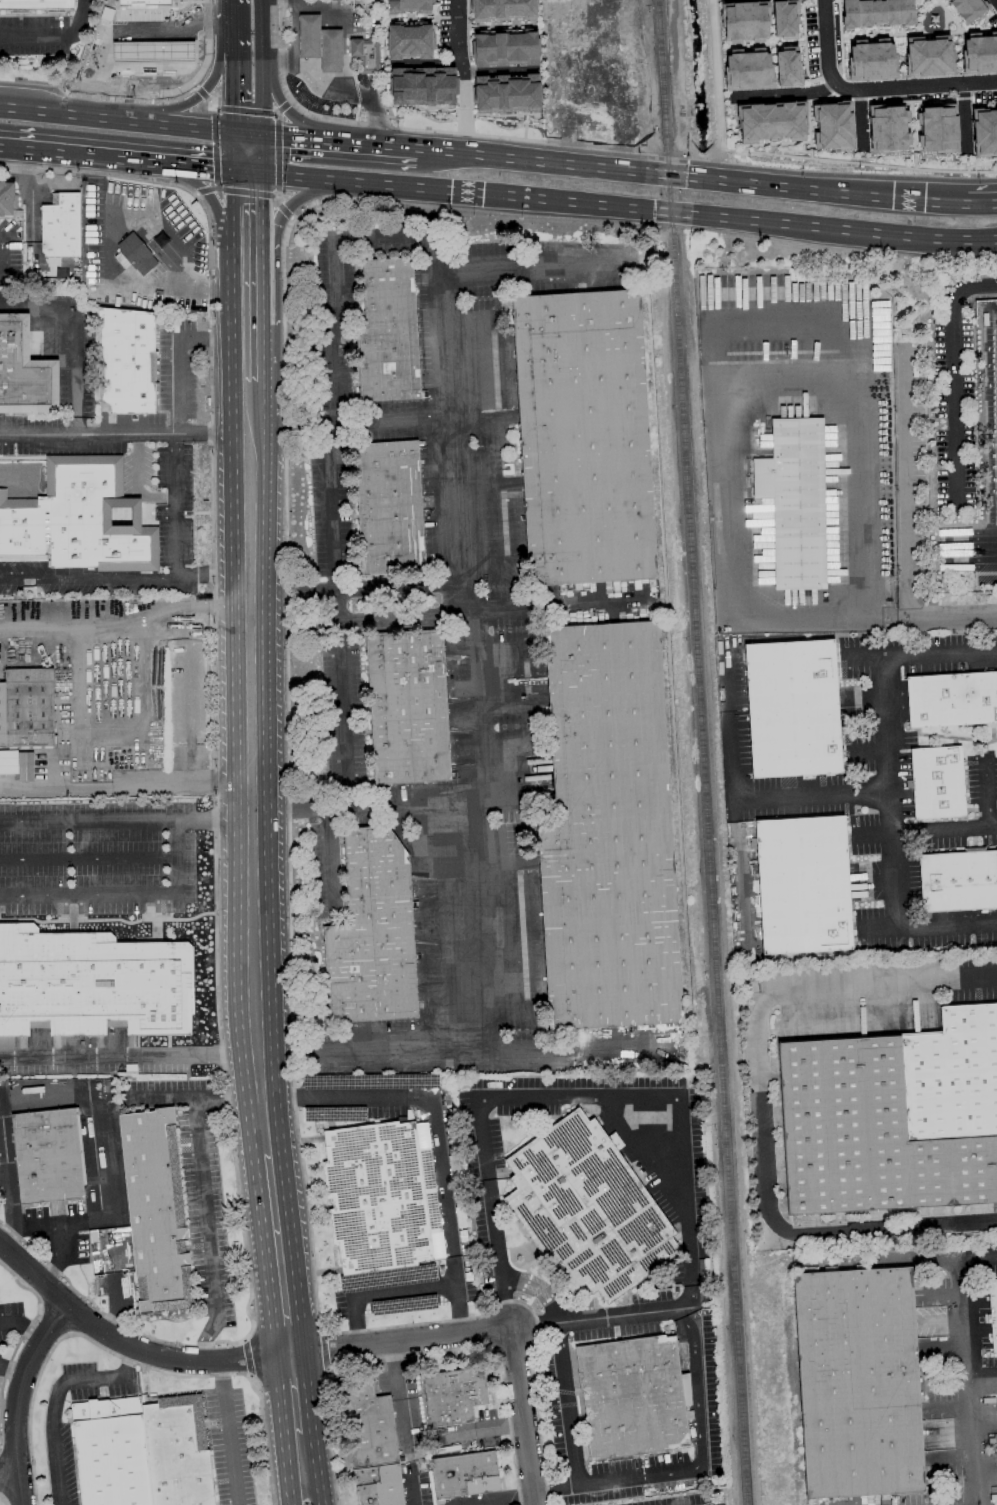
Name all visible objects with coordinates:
road: (996, 0)
building: (142, 2)
building: (35, 4)
road: (361, 4)
building: (409, 6)
building: (966, 9)
building: (502, 10)
building: (876, 12)
road: (233, 15)
building: (786, 18)
building: (745, 20)
road: (125, 29)
traffic signals: (235, 30)
road: (343, 30)
building: (309, 37)
road: (55, 38)
road: (460, 39)
building: (409, 42)
road: (823, 42)
building: (148, 47)
gas station: (148, 47)
building: (504, 49)
building: (331, 51)
building: (363, 53)
gas station: (363, 53)
building: (979, 53)
road: (371, 54)
building: (928, 57)
building: (870, 60)
road: (262, 66)
building: (786, 67)
road: (305, 68)
building: (747, 69)
road: (237, 81)
road: (372, 85)
building: (421, 86)
road: (915, 87)
road: (202, 93)
road: (198, 94)
building: (506, 94)
road: (785, 94)
road: (211, 105)
traffic signals: (238, 106)
road: (283, 107)
road: (373, 107)
road: (244, 111)
road: (286, 111)
road: (464, 115)
road: (119, 121)
building: (771, 121)
building: (834, 125)
building: (888, 128)
building: (936, 128)
building: (984, 132)
traffic signals: (280, 136)
road: (288, 136)
road: (397, 145)
road: (214, 149)
road: (461, 152)
road: (245, 153)
road: (257, 153)
road: (78, 154)
road: (276, 154)
road: (204, 167)
traffic signals: (211, 168)
road: (731, 182)
road: (203, 191)
road: (246, 192)
traffic signals: (252, 197)
building: (6, 199)
road: (277, 200)
road: (624, 208)
road: (219, 211)
road: (283, 212)
road: (285, 212)
building: (61, 226)
road: (252, 229)
road: (2, 249)
building: (135, 255)
road: (1, 262)
road: (530, 266)
road: (148, 287)
road: (965, 288)
road: (253, 289)
road: (211, 291)
road: (794, 314)
building: (388, 333)
road: (73, 335)
road: (212, 341)
road: (252, 341)
building: (125, 361)
building: (24, 371)
road: (788, 374)
road: (172, 380)
road: (954, 407)
road: (252, 413)
road: (409, 418)
parking lot: (988, 419)
road: (126, 434)
building: (584, 438)
road: (333, 455)
road: (904, 484)
building: (795, 502)
road: (172, 506)
building: (389, 508)
building: (80, 519)
road: (293, 573)
road: (87, 577)
road: (213, 578)
road: (357, 590)
road: (546, 602)
road: (126, 611)
road: (859, 619)
road: (356, 621)
road: (468, 623)
road: (928, 655)
building: (952, 699)
road: (188, 707)
building: (407, 707)
building: (27, 708)
building: (792, 709)
railway: (700, 752)
building: (17, 764)
building: (937, 783)
road: (126, 785)
road: (252, 797)
road: (990, 798)
road: (737, 799)
road: (362, 806)
road: (126, 820)
road: (927, 830)
building: (608, 834)
road: (890, 842)
road: (90, 858)
road: (330, 861)
building: (958, 881)
building: (803, 885)
road: (126, 893)
road: (289, 907)
building: (372, 933)
building: (92, 983)
road: (404, 1055)
road: (129, 1057)
road: (584, 1096)
road: (194, 1101)
road: (762, 1108)
building: (893, 1117)
road: (433, 1133)
building: (47, 1156)
road: (7, 1174)
building: (379, 1197)
road: (207, 1207)
building: (586, 1209)
building: (155, 1210)
road: (494, 1212)
road: (57, 1240)
road: (796, 1245)
road: (977, 1256)
road: (787, 1257)
road: (276, 1258)
road: (690, 1287)
road: (379, 1291)
building: (993, 1313)
road: (207, 1337)
road: (237, 1362)
road: (395, 1368)
road: (981, 1376)
road: (966, 1380)
building: (858, 1383)
road: (290, 1385)
road: (53, 1396)
building: (452, 1396)
building: (633, 1396)
building: (996, 1400)
road: (22, 1401)
road: (570, 1402)
road: (794, 1405)
road: (523, 1416)
building: (369, 1425)
road: (403, 1427)
road: (230, 1434)
road: (297, 1442)
road: (775, 1442)
building: (111, 1452)
building: (177, 1452)
road: (695, 1464)
road: (777, 1464)
building: (464, 1475)
road: (7, 1479)
road: (411, 1483)
building: (379, 1485)
road: (293, 1487)
road: (311, 1487)

